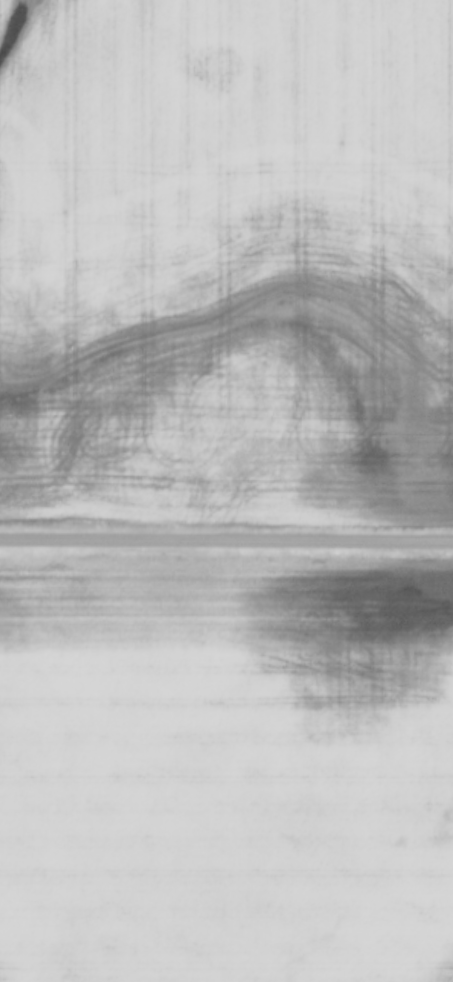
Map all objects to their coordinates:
road: (226, 535)

